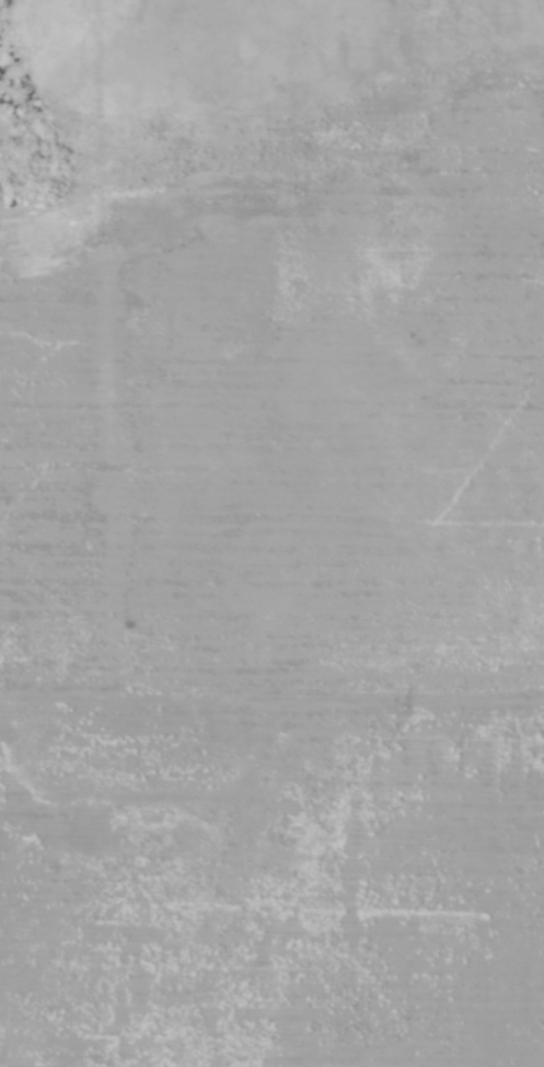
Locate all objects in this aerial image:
crop: (271, 863)

